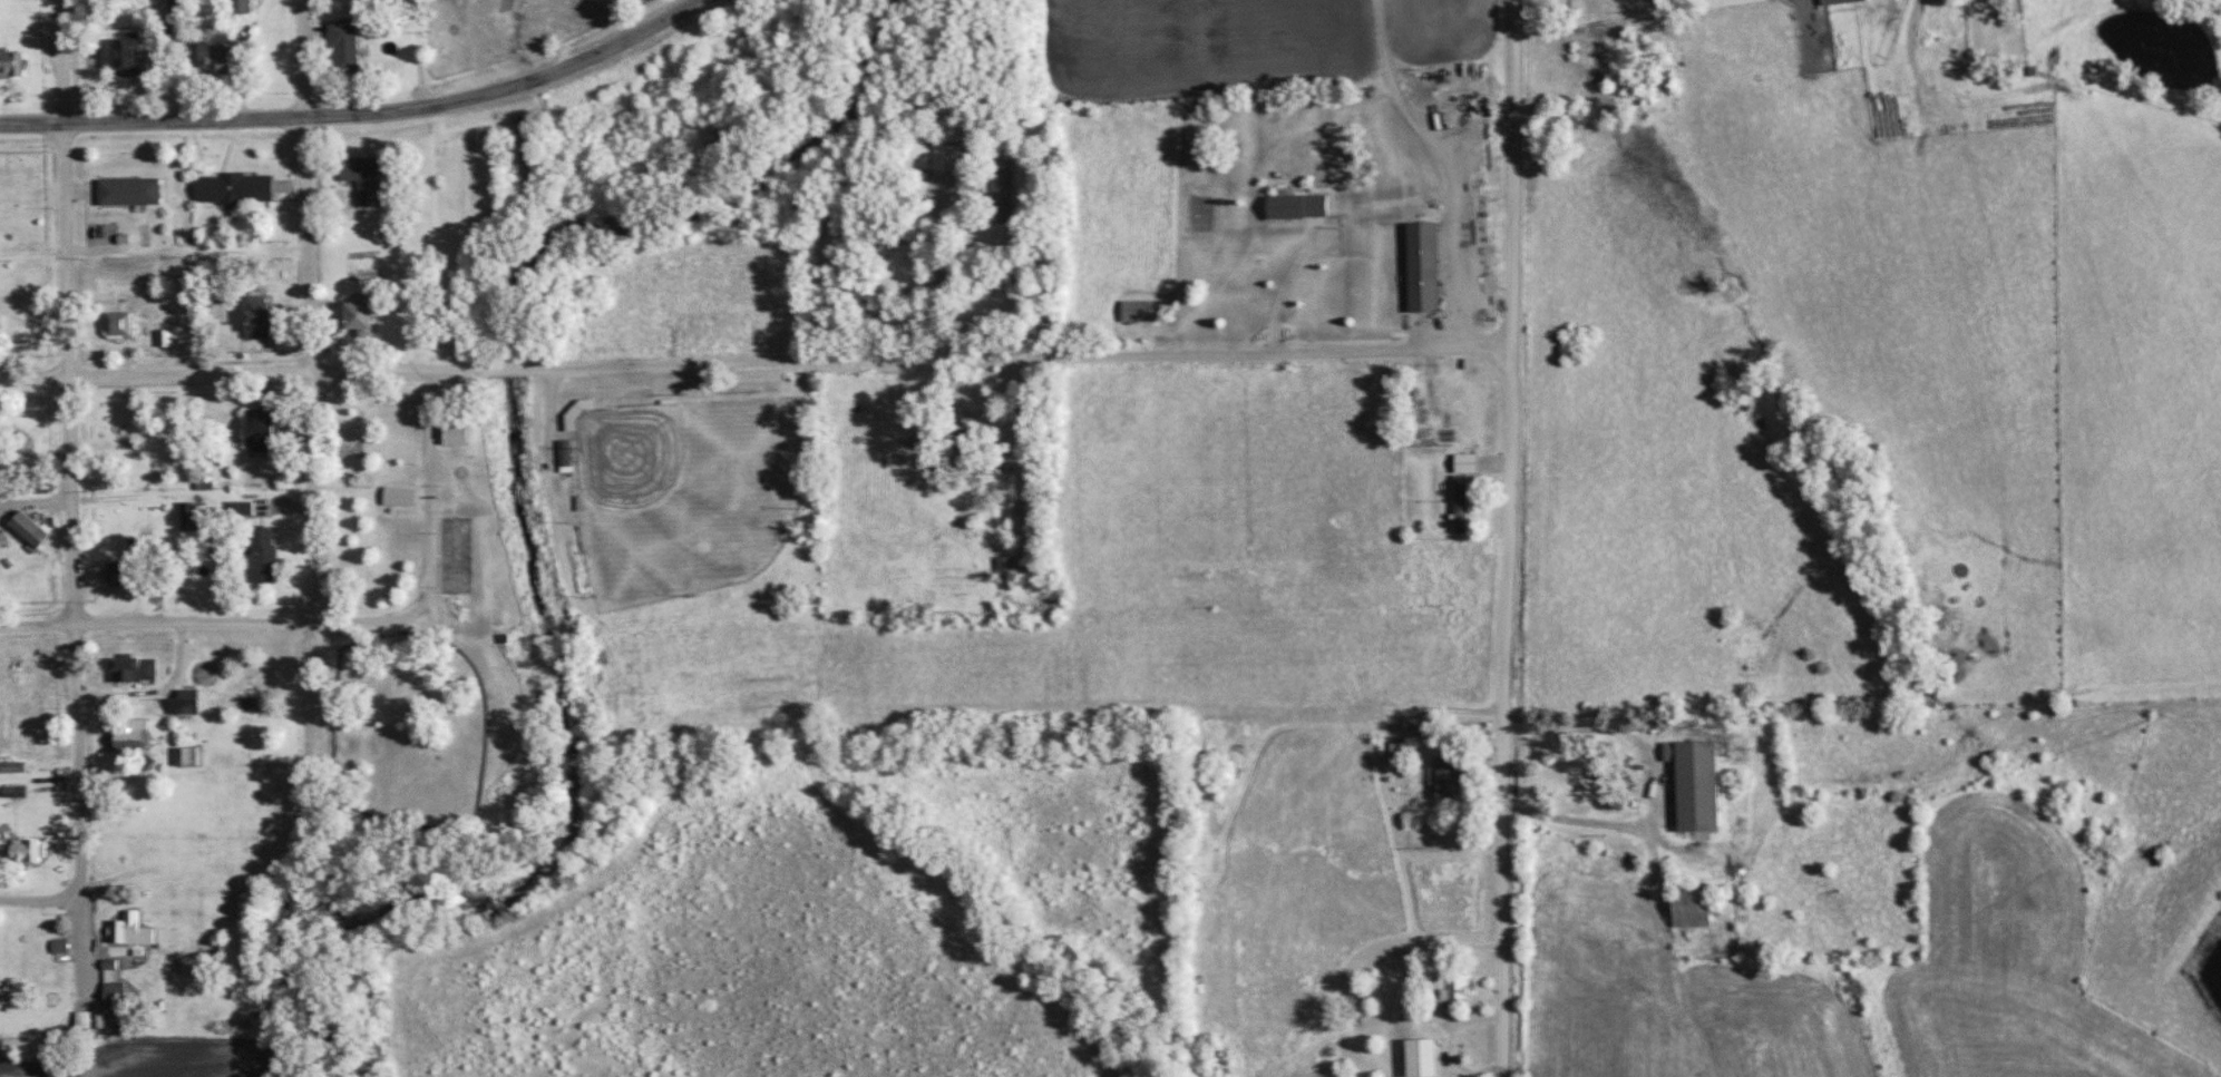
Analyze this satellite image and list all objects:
building: (1837, 1)
building: (240, 7)
building: (343, 45)
building: (213, 50)
building: (126, 55)
road: (302, 58)
road: (62, 61)
building: (10, 65)
road: (358, 112)
building: (362, 179)
building: (233, 188)
building: (128, 193)
building: (1294, 207)
building: (1423, 268)
building: (1134, 312)
building: (359, 316)
building: (257, 320)
building: (117, 325)
road: (754, 360)
road: (310, 366)
building: (577, 411)
building: (448, 431)
building: (962, 432)
building: (260, 433)
building: (1465, 464)
park: (683, 491)
building: (398, 497)
building: (1460, 506)
building: (240, 509)
building: (187, 518)
building: (28, 530)
road: (1509, 538)
building: (261, 557)
road: (72, 565)
building: (1004, 569)
building: (124, 575)
road: (329, 618)
building: (133, 672)
building: (31, 673)
building: (126, 741)
building: (189, 757)
building: (12, 767)
building: (1448, 776)
building: (1695, 785)
building: (13, 792)
building: (25, 851)
road: (39, 899)
building: (1691, 904)
building: (128, 929)
building: (1452, 986)
building: (111, 991)
building: (1420, 1057)
crop: (155, 1058)

